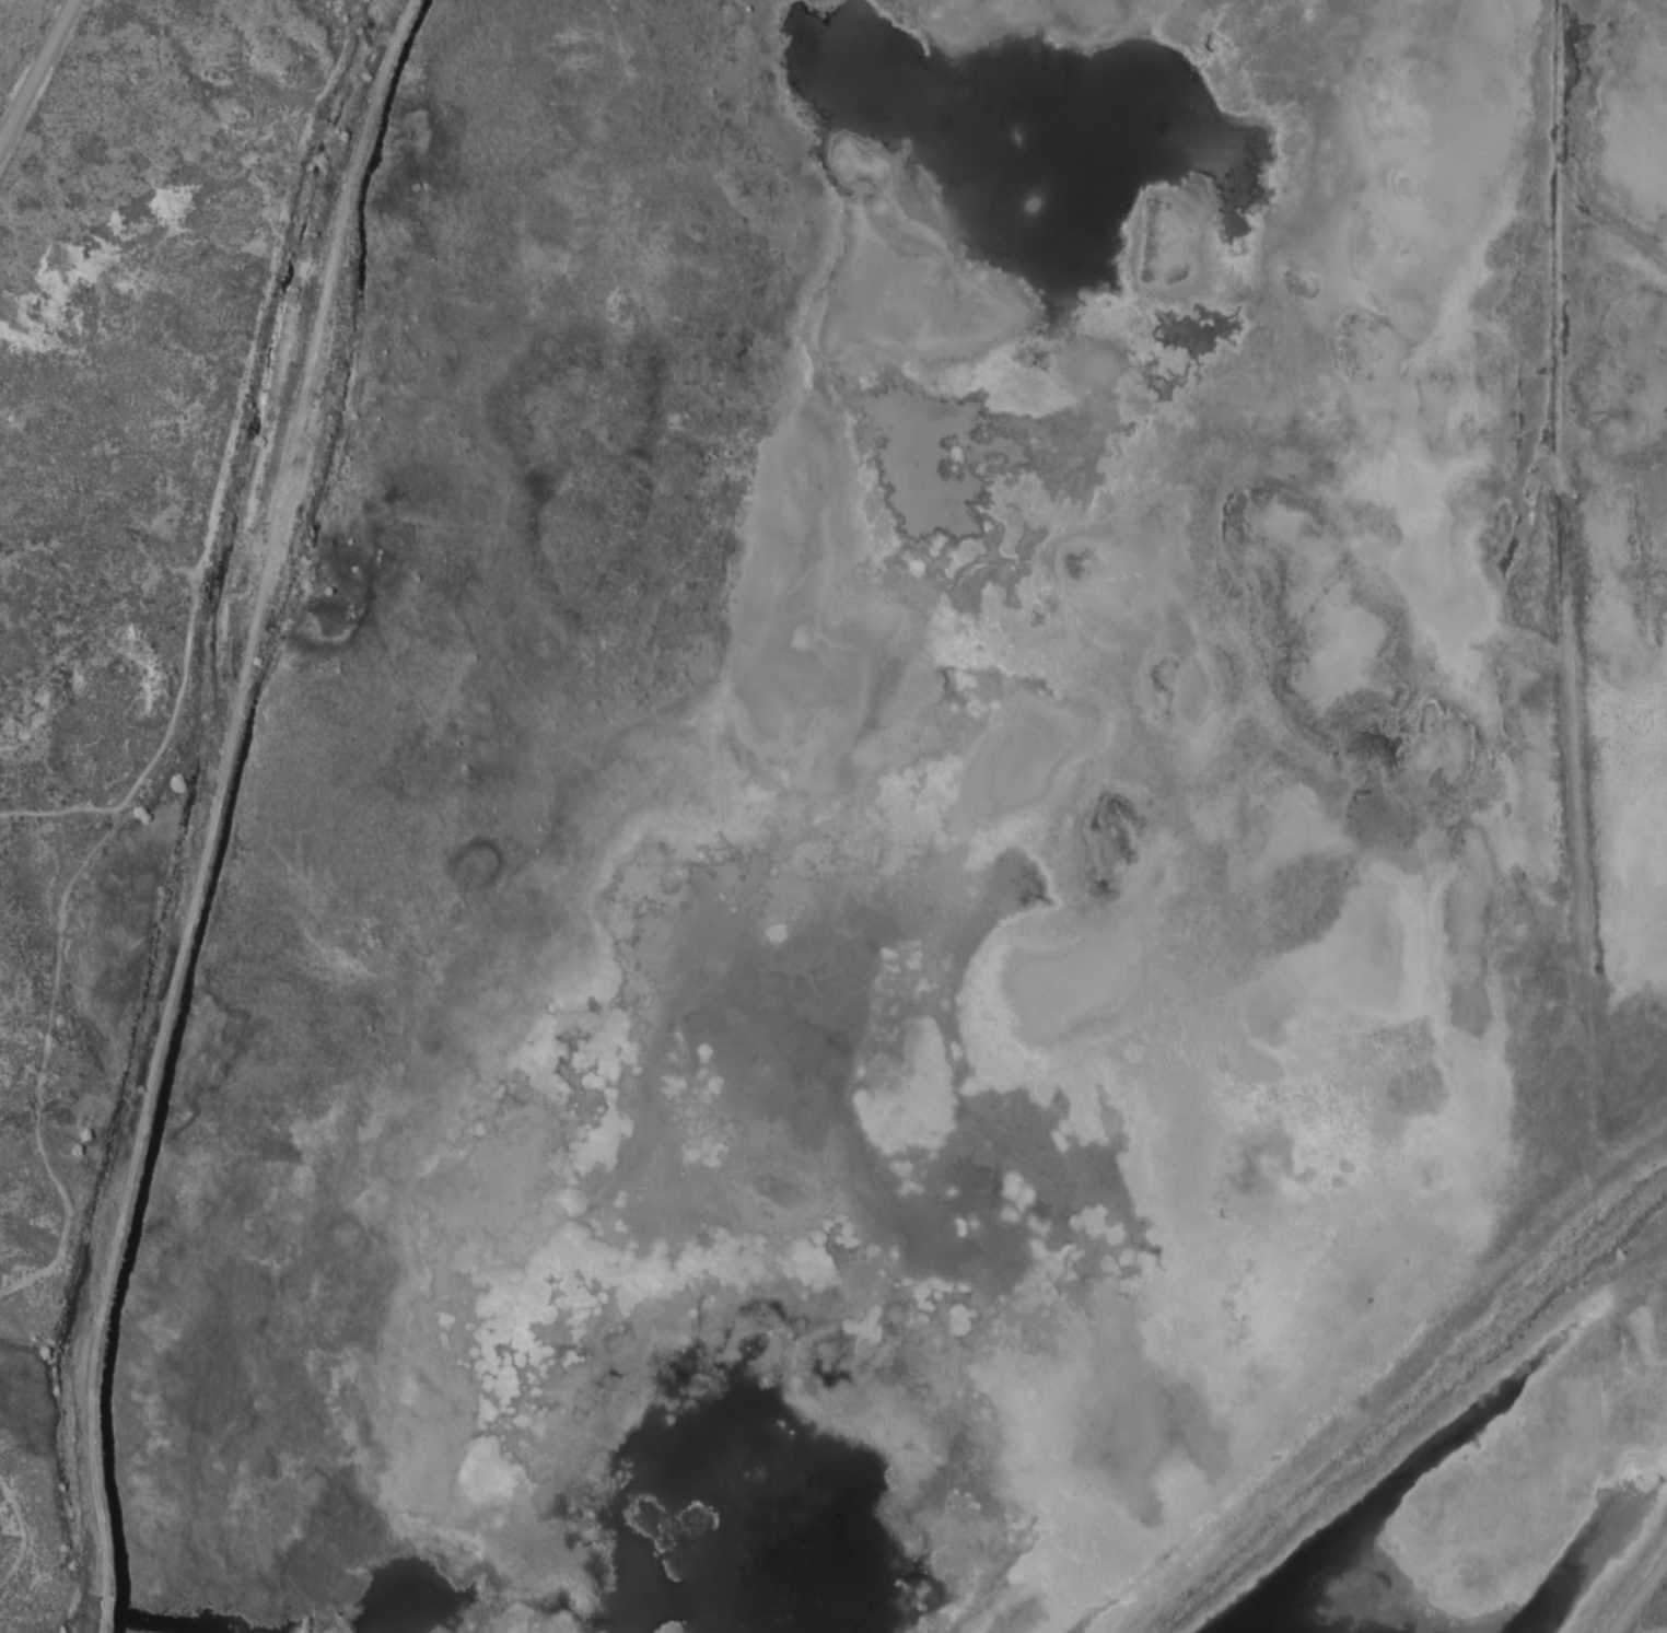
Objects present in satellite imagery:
road: (37, 75)
road: (1640, 1596)

